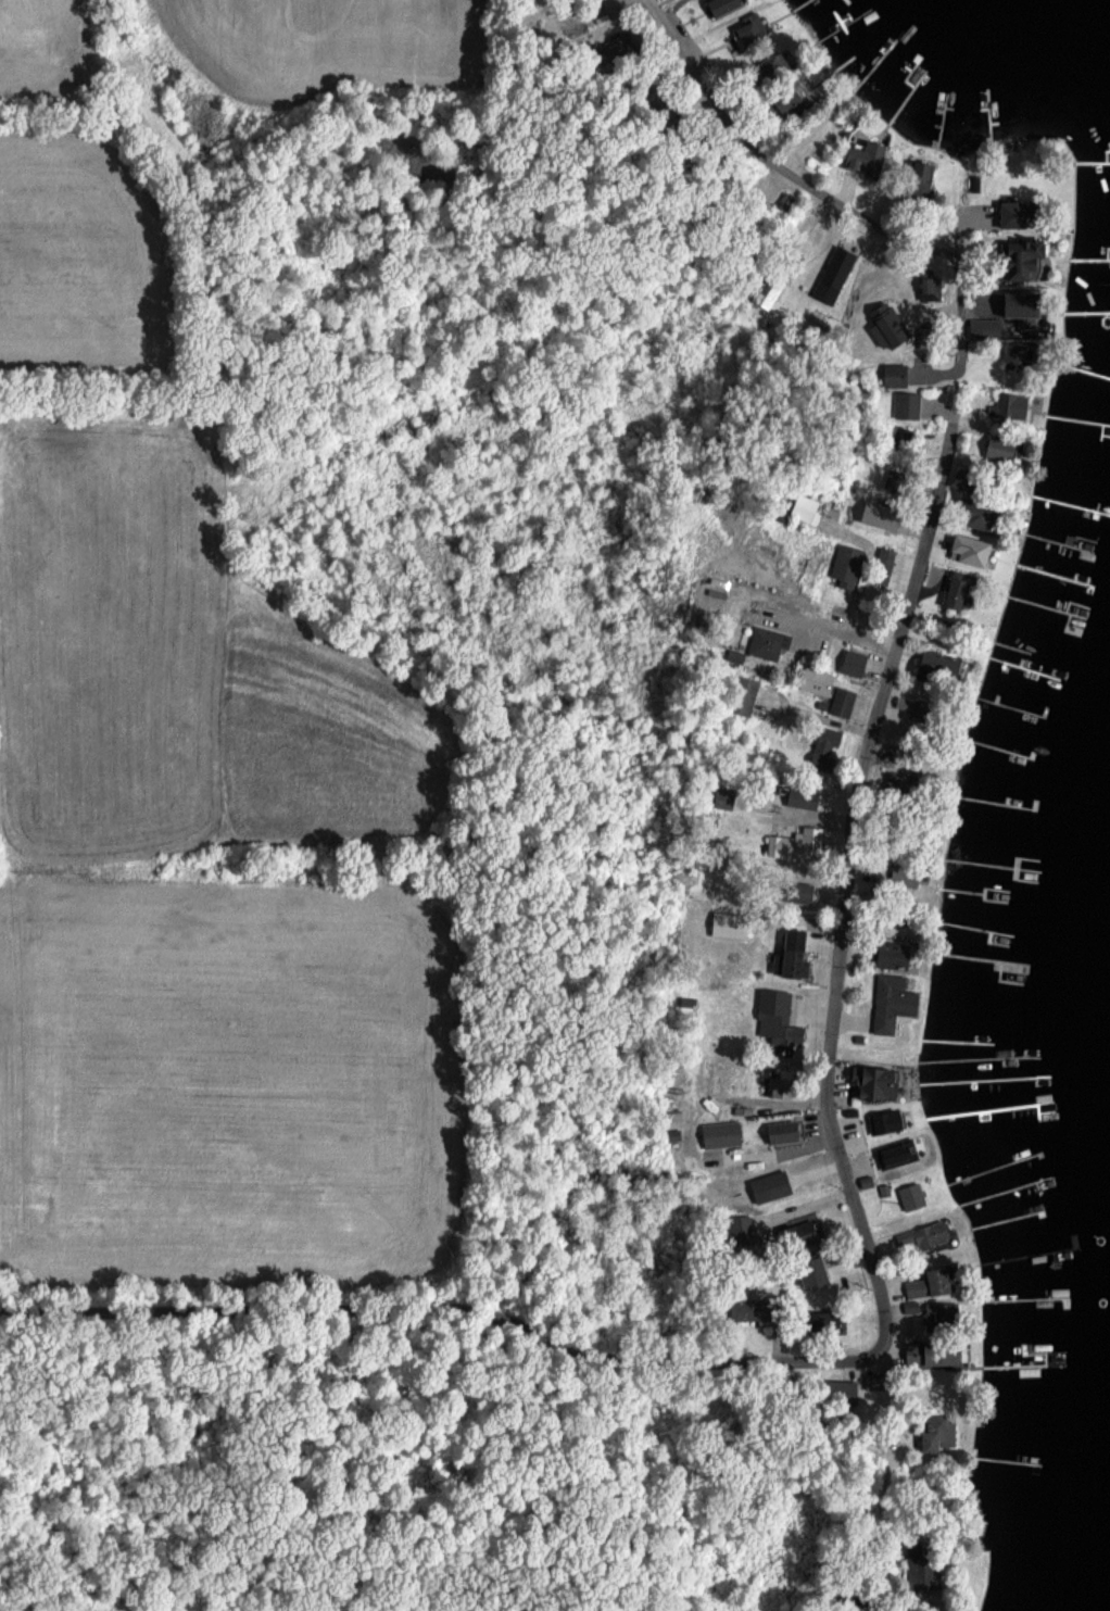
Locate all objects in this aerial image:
building: (731, 5)
building: (752, 30)
building: (874, 161)
road: (832, 201)
building: (1009, 213)
building: (1017, 255)
building: (928, 287)
building: (1017, 304)
building: (881, 324)
building: (983, 328)
building: (933, 339)
building: (1012, 351)
building: (894, 375)
building: (907, 404)
building: (1008, 405)
building: (995, 445)
building: (876, 513)
building: (972, 513)
building: (966, 546)
building: (845, 564)
building: (882, 565)
building: (954, 591)
building: (768, 641)
building: (852, 662)
building: (932, 662)
building: (817, 683)
building: (742, 694)
building: (842, 701)
building: (822, 745)
building: (799, 796)
building: (721, 800)
building: (795, 842)
building: (911, 876)
building: (798, 891)
building: (728, 923)
building: (886, 952)
building: (789, 954)
building: (890, 1002)
building: (774, 1017)
building: (874, 1081)
building: (775, 1085)
building: (885, 1119)
building: (780, 1131)
building: (719, 1133)
building: (894, 1154)
building: (768, 1185)
building: (910, 1194)
building: (741, 1230)
building: (929, 1233)
building: (808, 1269)
building: (928, 1282)
building: (911, 1306)
building: (745, 1308)
building: (932, 1310)
road: (885, 1314)
building: (841, 1390)
building: (935, 1432)

